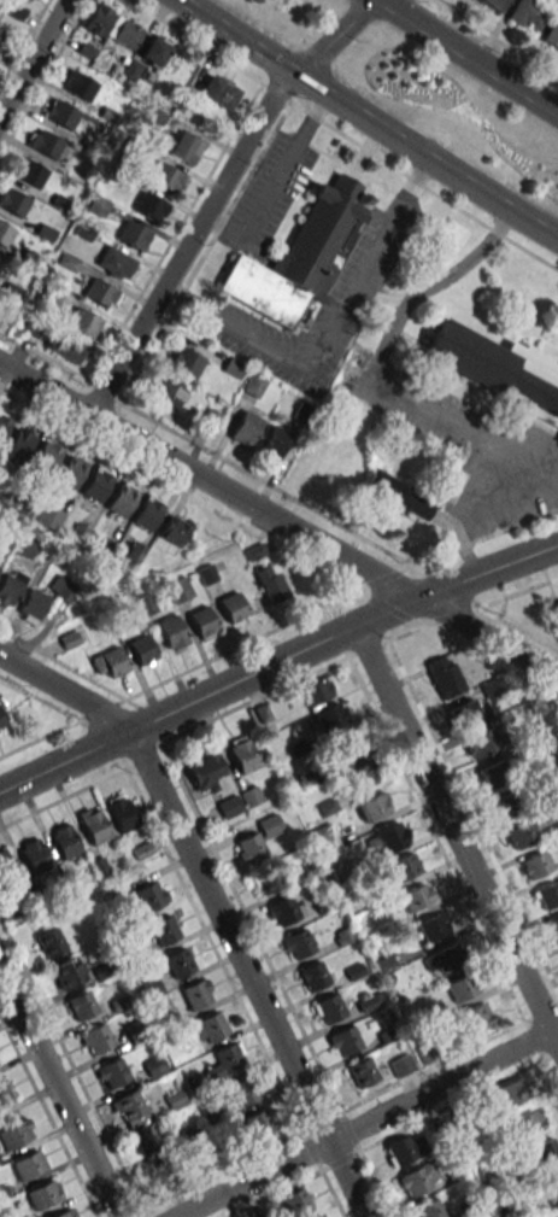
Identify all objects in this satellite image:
building: (33, 0)
building: (493, 4)
building: (528, 14)
building: (99, 18)
building: (125, 33)
building: (551, 35)
road: (231, 39)
building: (2, 40)
building: (154, 51)
road: (468, 55)
road: (33, 58)
building: (77, 84)
building: (217, 92)
building: (60, 113)
building: (43, 142)
building: (183, 146)
road: (424, 158)
building: (29, 172)
building: (165, 176)
road: (275, 183)
road: (222, 193)
building: (12, 200)
building: (151, 206)
road: (383, 232)
building: (4, 233)
building: (133, 234)
building: (317, 238)
building: (116, 263)
building: (100, 292)
road: (189, 300)
building: (84, 322)
building: (64, 346)
road: (287, 356)
building: (186, 361)
road: (370, 369)
building: (499, 370)
building: (253, 385)
building: (168, 392)
building: (4, 422)
building: (245, 428)
building: (274, 441)
building: (18, 445)
building: (46, 456)
building: (70, 470)
building: (96, 484)
building: (399, 495)
building: (122, 499)
building: (147, 513)
building: (49, 516)
road: (278, 521)
building: (174, 531)
building: (270, 583)
building: (10, 587)
building: (178, 590)
building: (33, 605)
building: (234, 608)
building: (554, 612)
building: (202, 622)
building: (172, 633)
building: (142, 649)
building: (110, 661)
road: (276, 662)
building: (441, 677)
building: (317, 691)
building: (468, 712)
building: (330, 716)
building: (1, 722)
building: (482, 742)
building: (346, 745)
building: (242, 753)
building: (205, 772)
building: (491, 774)
building: (360, 776)
building: (228, 806)
building: (372, 806)
building: (504, 806)
building: (121, 812)
building: (93, 824)
building: (269, 825)
road: (460, 827)
building: (524, 833)
building: (388, 838)
building: (64, 841)
building: (249, 847)
building: (34, 855)
building: (536, 865)
building: (404, 867)
building: (270, 878)
building: (7, 888)
building: (547, 894)
building: (149, 895)
building: (416, 897)
road: (213, 907)
building: (286, 908)
building: (553, 925)
building: (433, 928)
building: (165, 930)
building: (49, 942)
building: (298, 943)
building: (442, 958)
building: (178, 963)
building: (383, 964)
building: (67, 972)
building: (313, 976)
building: (148, 987)
building: (462, 987)
building: (196, 993)
building: (369, 1001)
building: (81, 1005)
building: (328, 1008)
building: (476, 1018)
building: (207, 1028)
building: (96, 1038)
building: (343, 1040)
building: (225, 1060)
building: (400, 1064)
building: (112, 1072)
building: (362, 1072)
building: (512, 1092)
building: (5, 1093)
building: (239, 1093)
road: (58, 1095)
building: (130, 1110)
road: (365, 1122)
building: (530, 1122)
building: (258, 1123)
building: (14, 1134)
building: (146, 1139)
building: (405, 1148)
building: (545, 1149)
building: (28, 1165)
building: (418, 1178)
building: (551, 1182)
building: (43, 1194)
building: (295, 1201)
building: (429, 1209)
building: (65, 1213)
building: (553, 1213)
building: (319, 1216)

